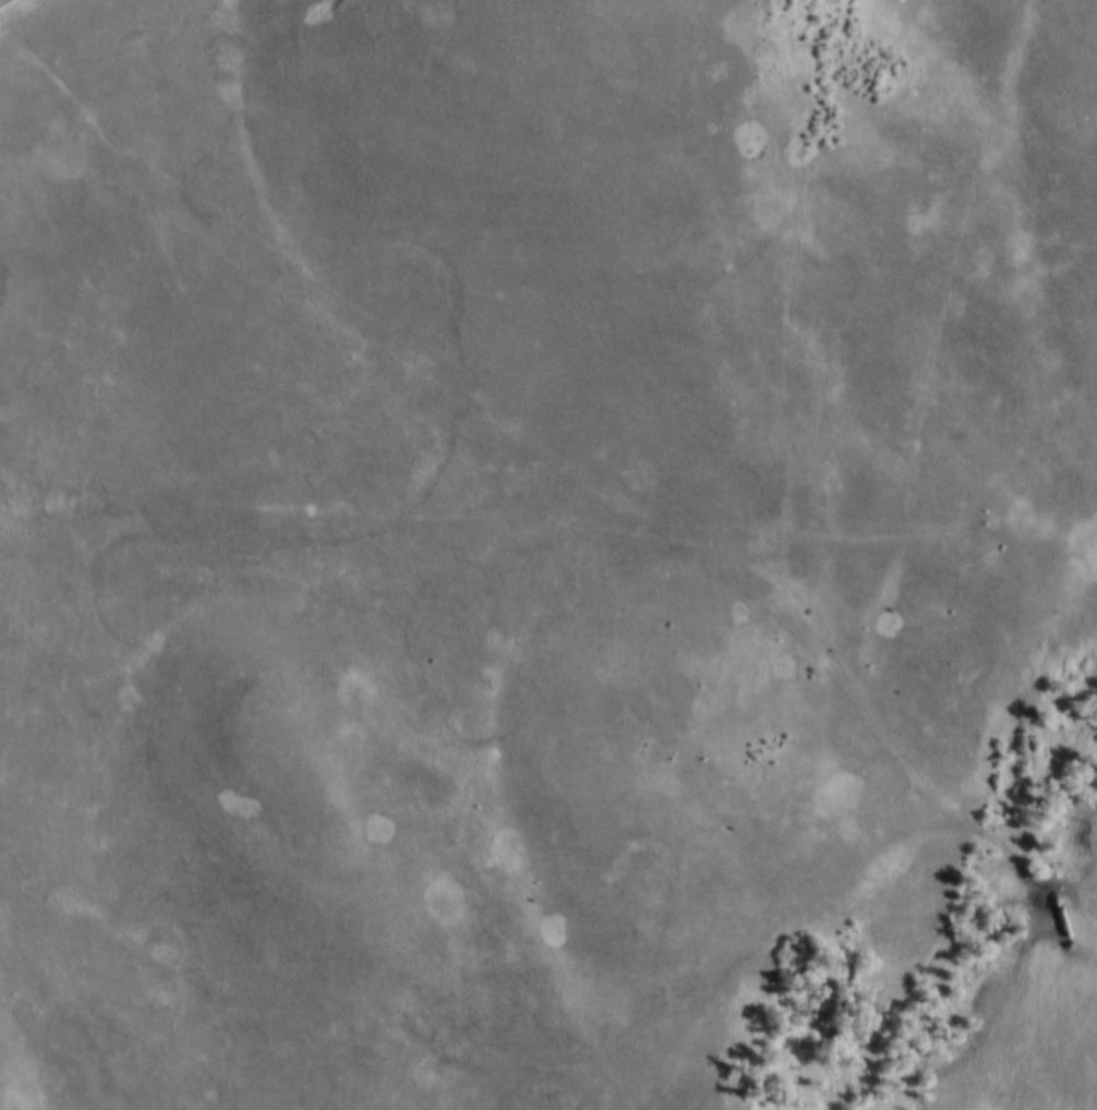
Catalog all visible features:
road: (588, 482)

